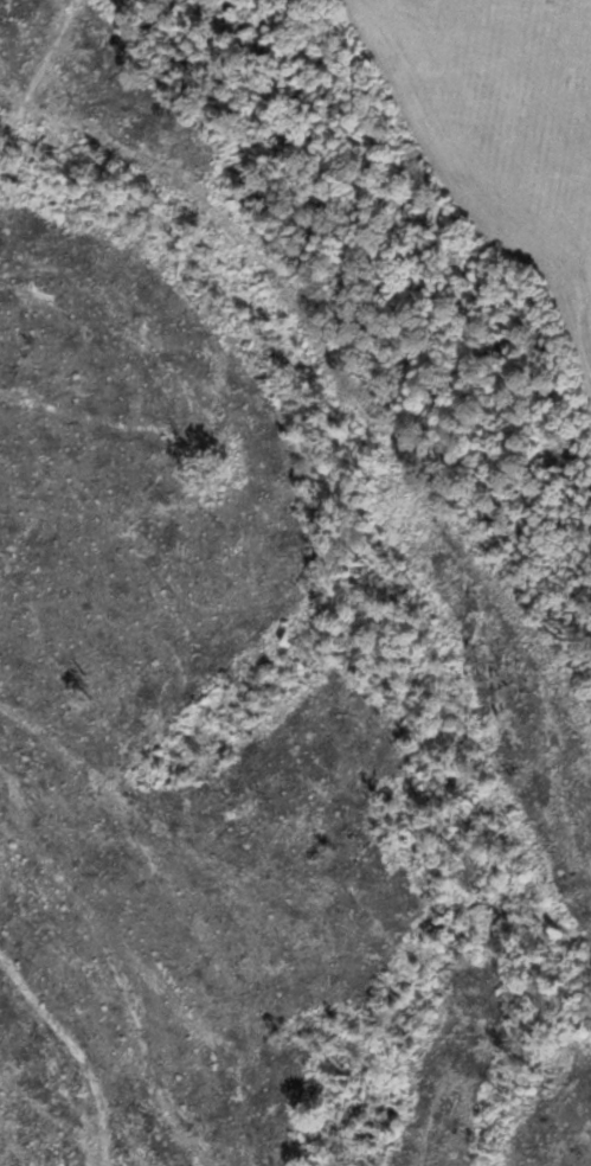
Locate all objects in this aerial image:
road: (354, 6)
road: (21, 39)

